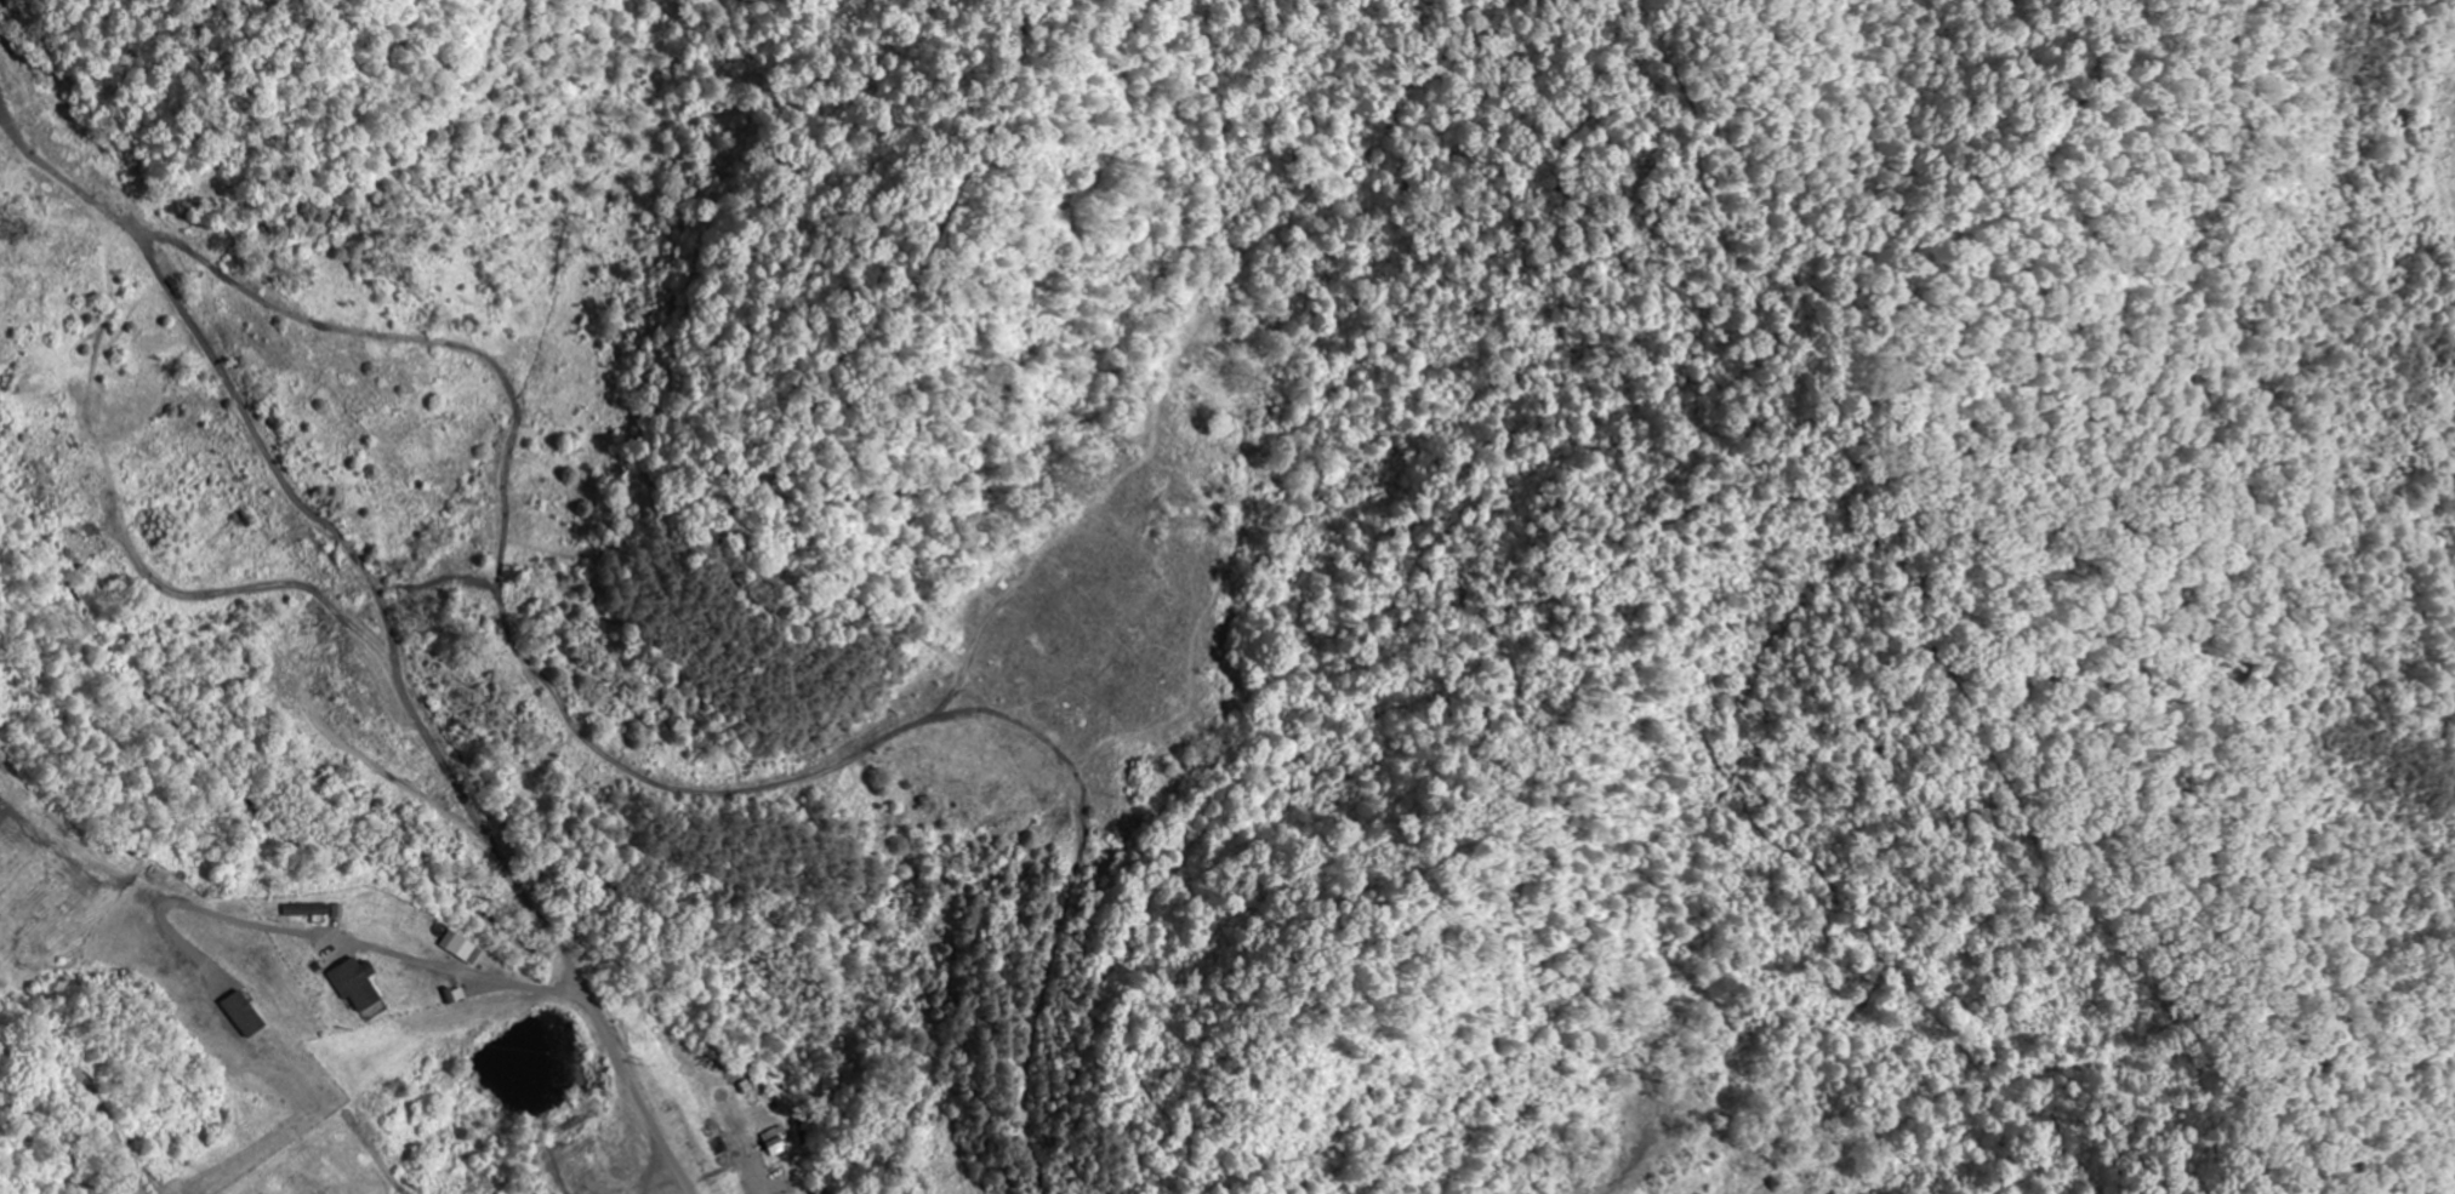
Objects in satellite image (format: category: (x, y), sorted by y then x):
building: (307, 909)
building: (461, 947)
building: (357, 983)
building: (777, 1139)

